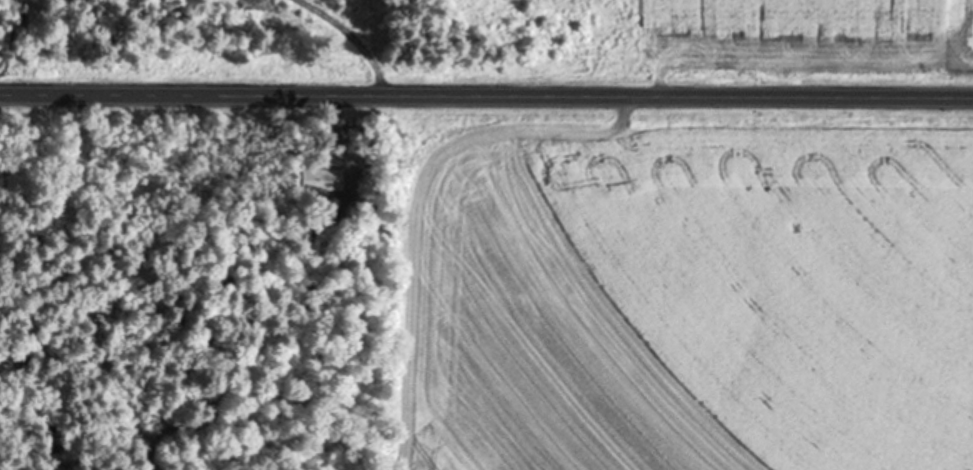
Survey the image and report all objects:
river: (17, 53)
road: (486, 98)
building: (319, 170)
building: (322, 181)
river: (33, 382)

